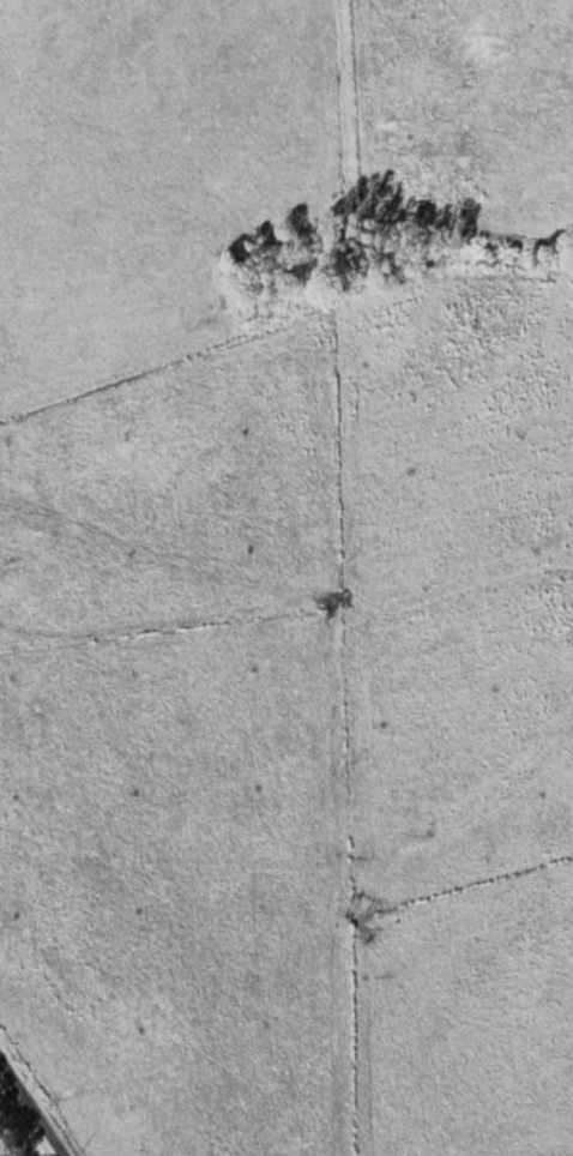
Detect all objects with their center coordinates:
road: (32, 1107)

